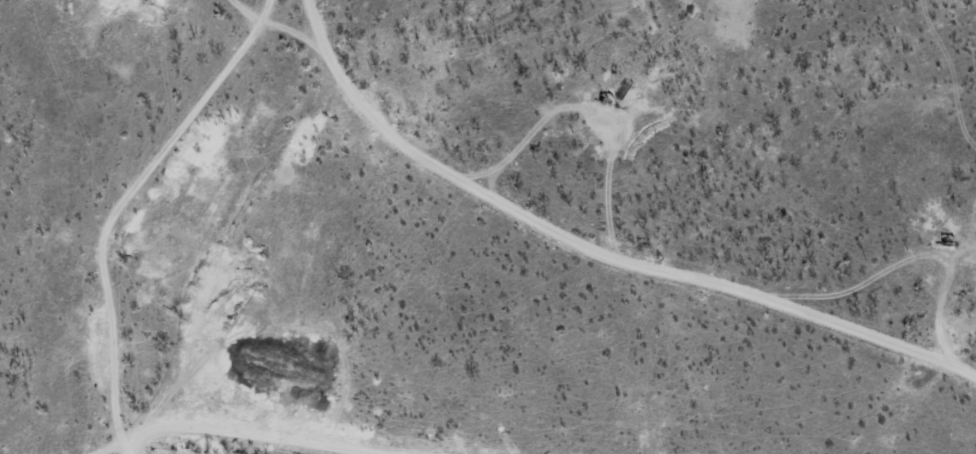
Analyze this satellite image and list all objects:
road: (224, 228)
road: (629, 288)

